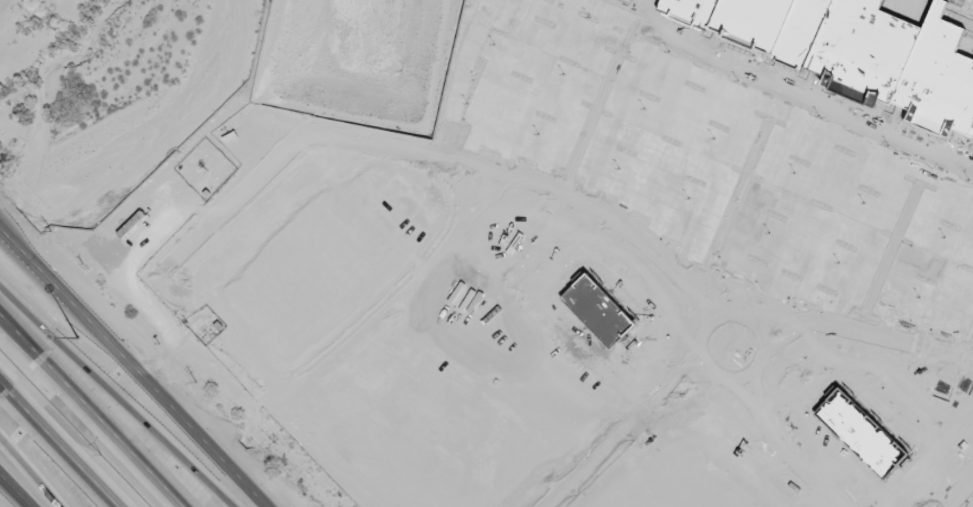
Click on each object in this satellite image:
road: (134, 366)
road: (119, 397)
road: (91, 411)
road: (60, 444)
road: (30, 473)
road: (16, 489)

